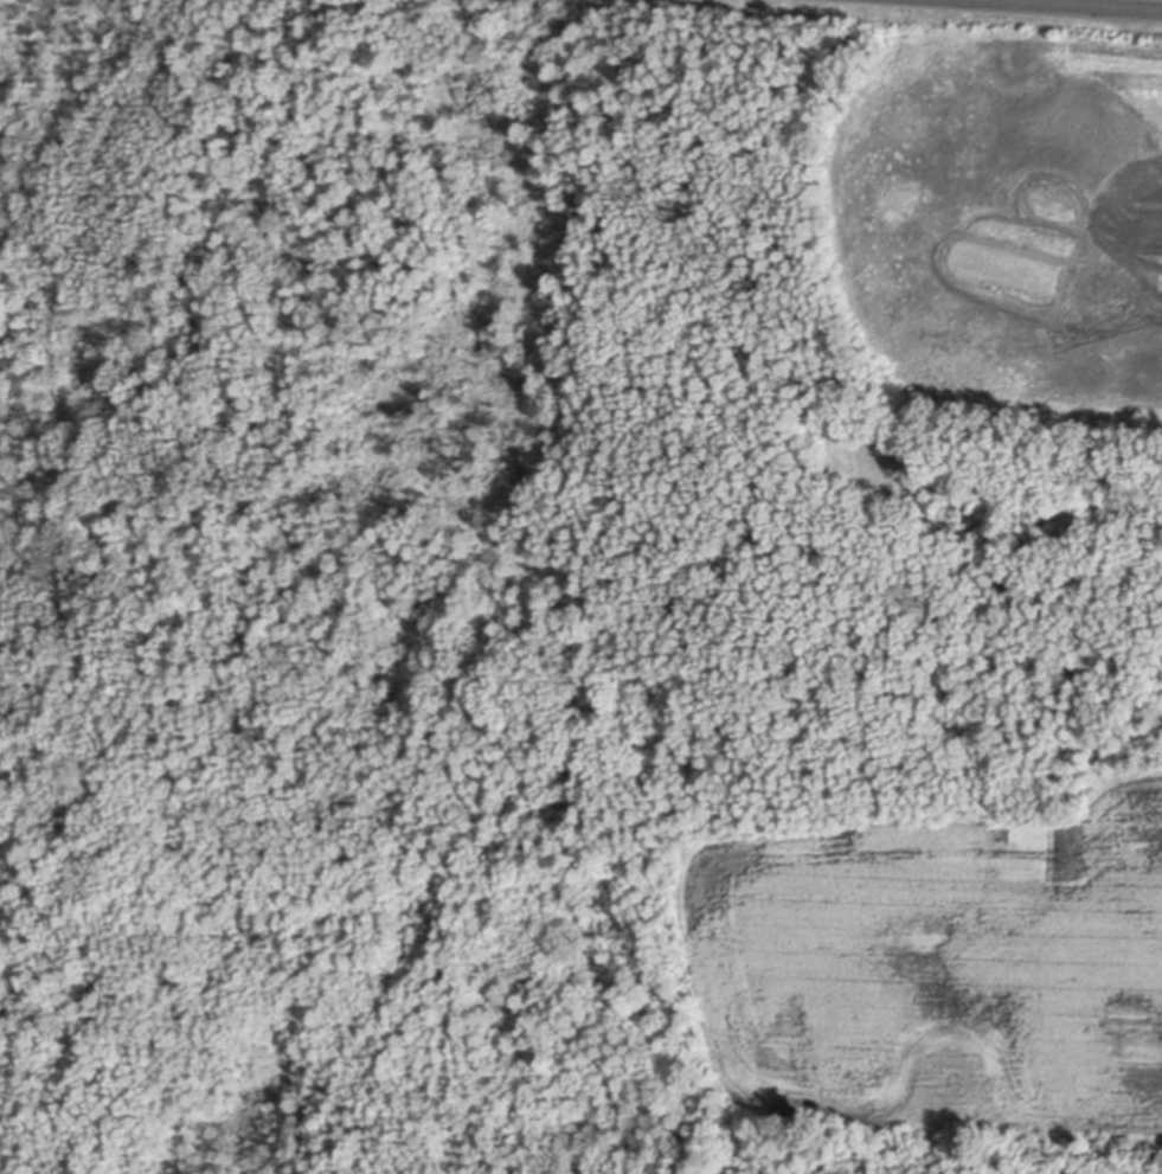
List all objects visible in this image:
road: (1098, 4)

